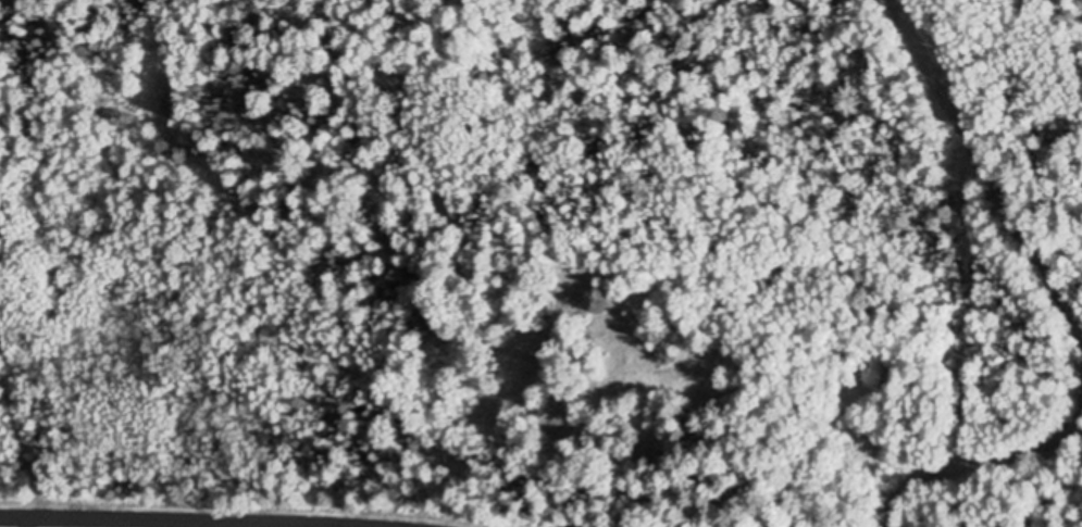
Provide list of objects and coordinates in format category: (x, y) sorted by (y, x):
road: (985, 174)
road: (17, 426)
road: (980, 467)
road: (202, 517)

